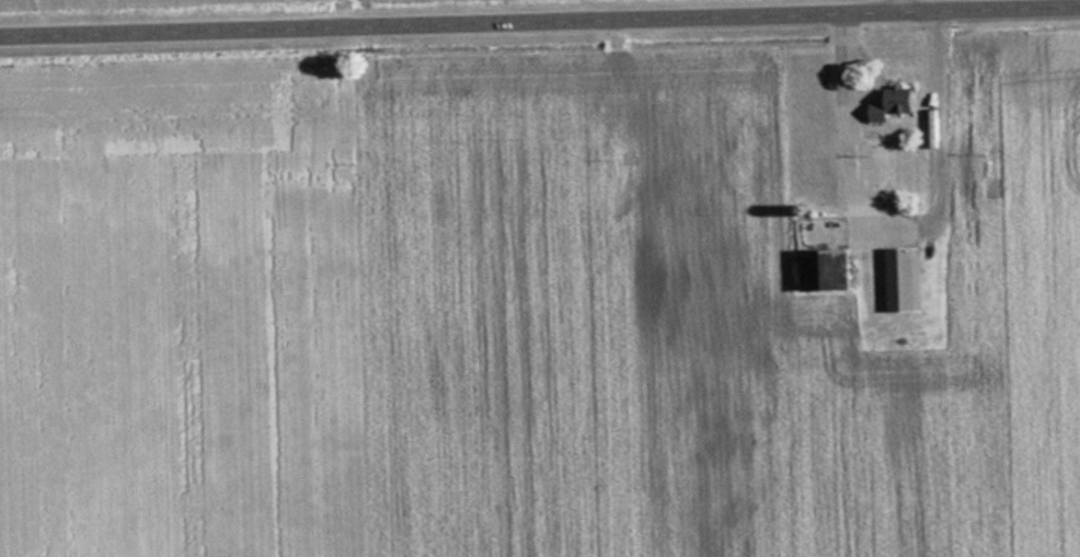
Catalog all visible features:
road: (903, 2)
road: (539, 15)
building: (896, 104)
building: (828, 270)

